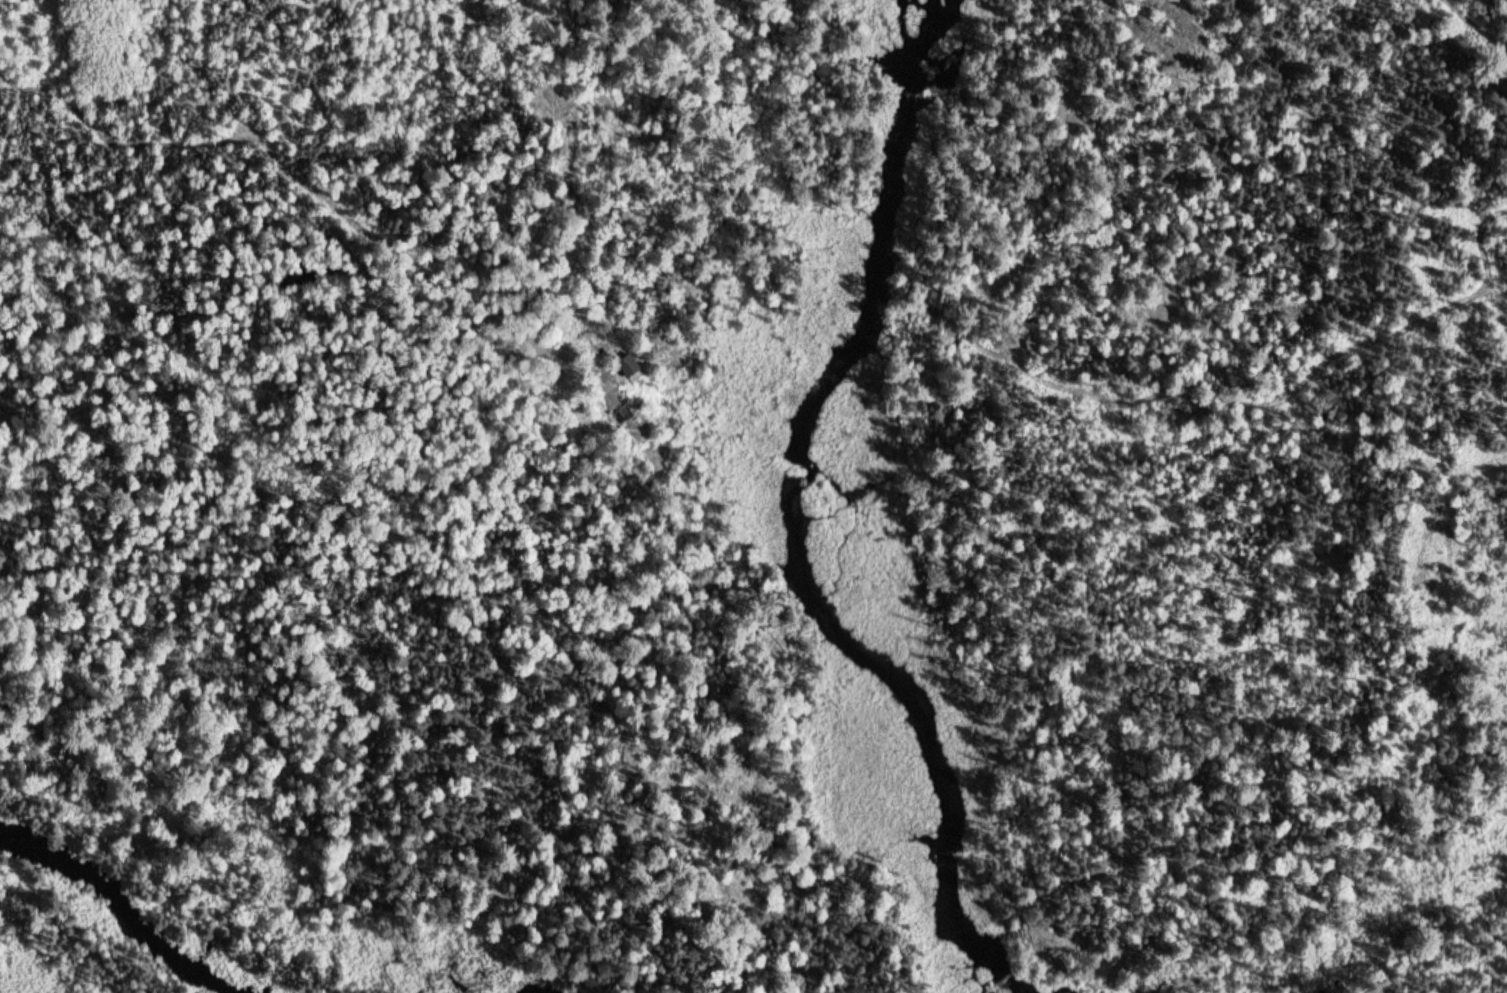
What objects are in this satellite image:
road: (1493, 9)
road: (1177, 48)
road: (30, 257)
road: (1492, 259)
building: (635, 366)
road: (1451, 495)
river: (128, 912)

